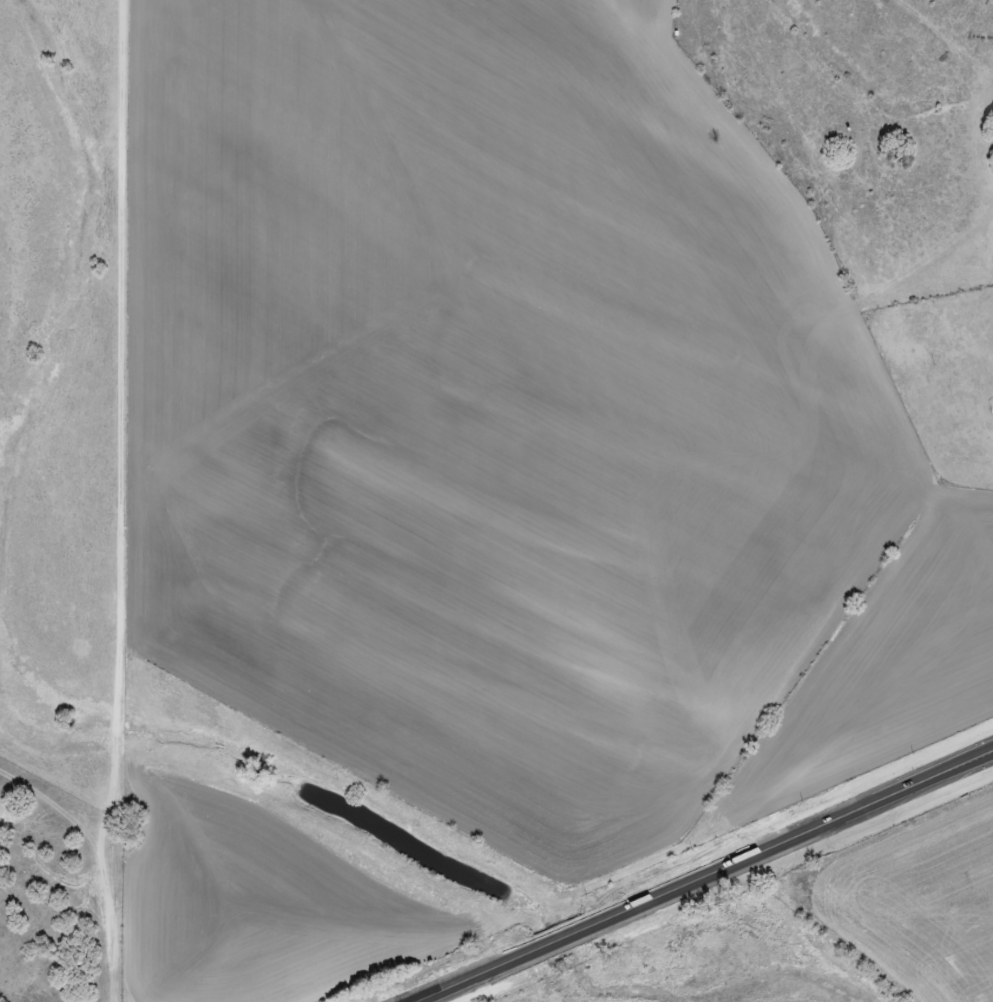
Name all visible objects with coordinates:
road: (109, 500)
road: (691, 874)

